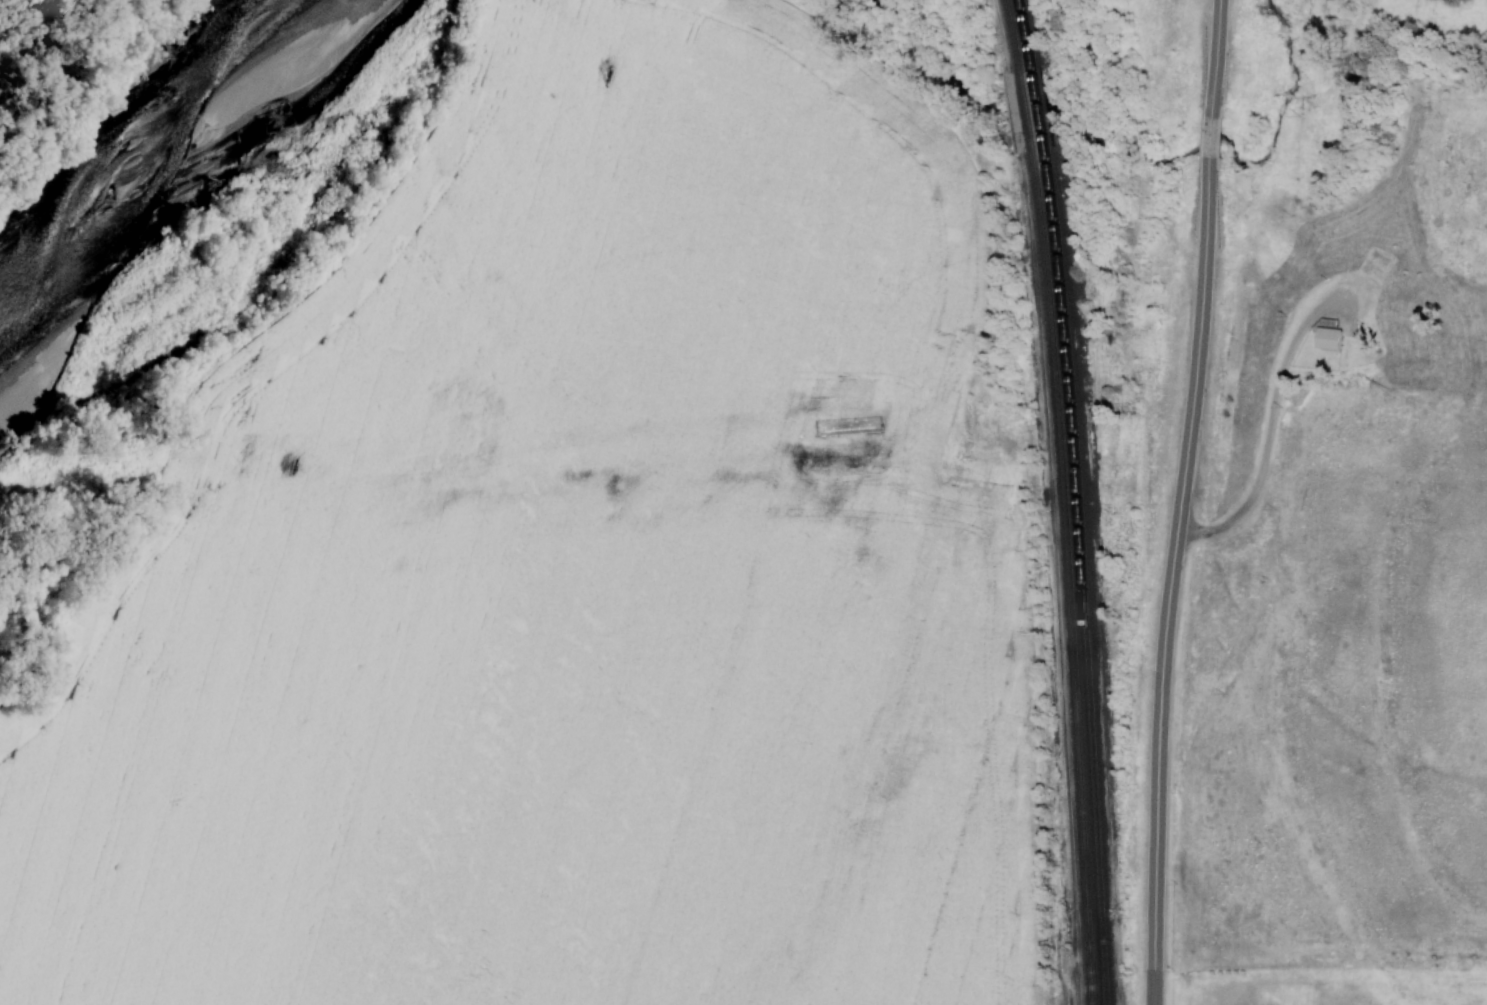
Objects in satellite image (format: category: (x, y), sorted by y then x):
river: (184, 160)
building: (1327, 338)
road: (1267, 440)
railway: (1062, 500)
railway: (1075, 501)
road: (1177, 501)

